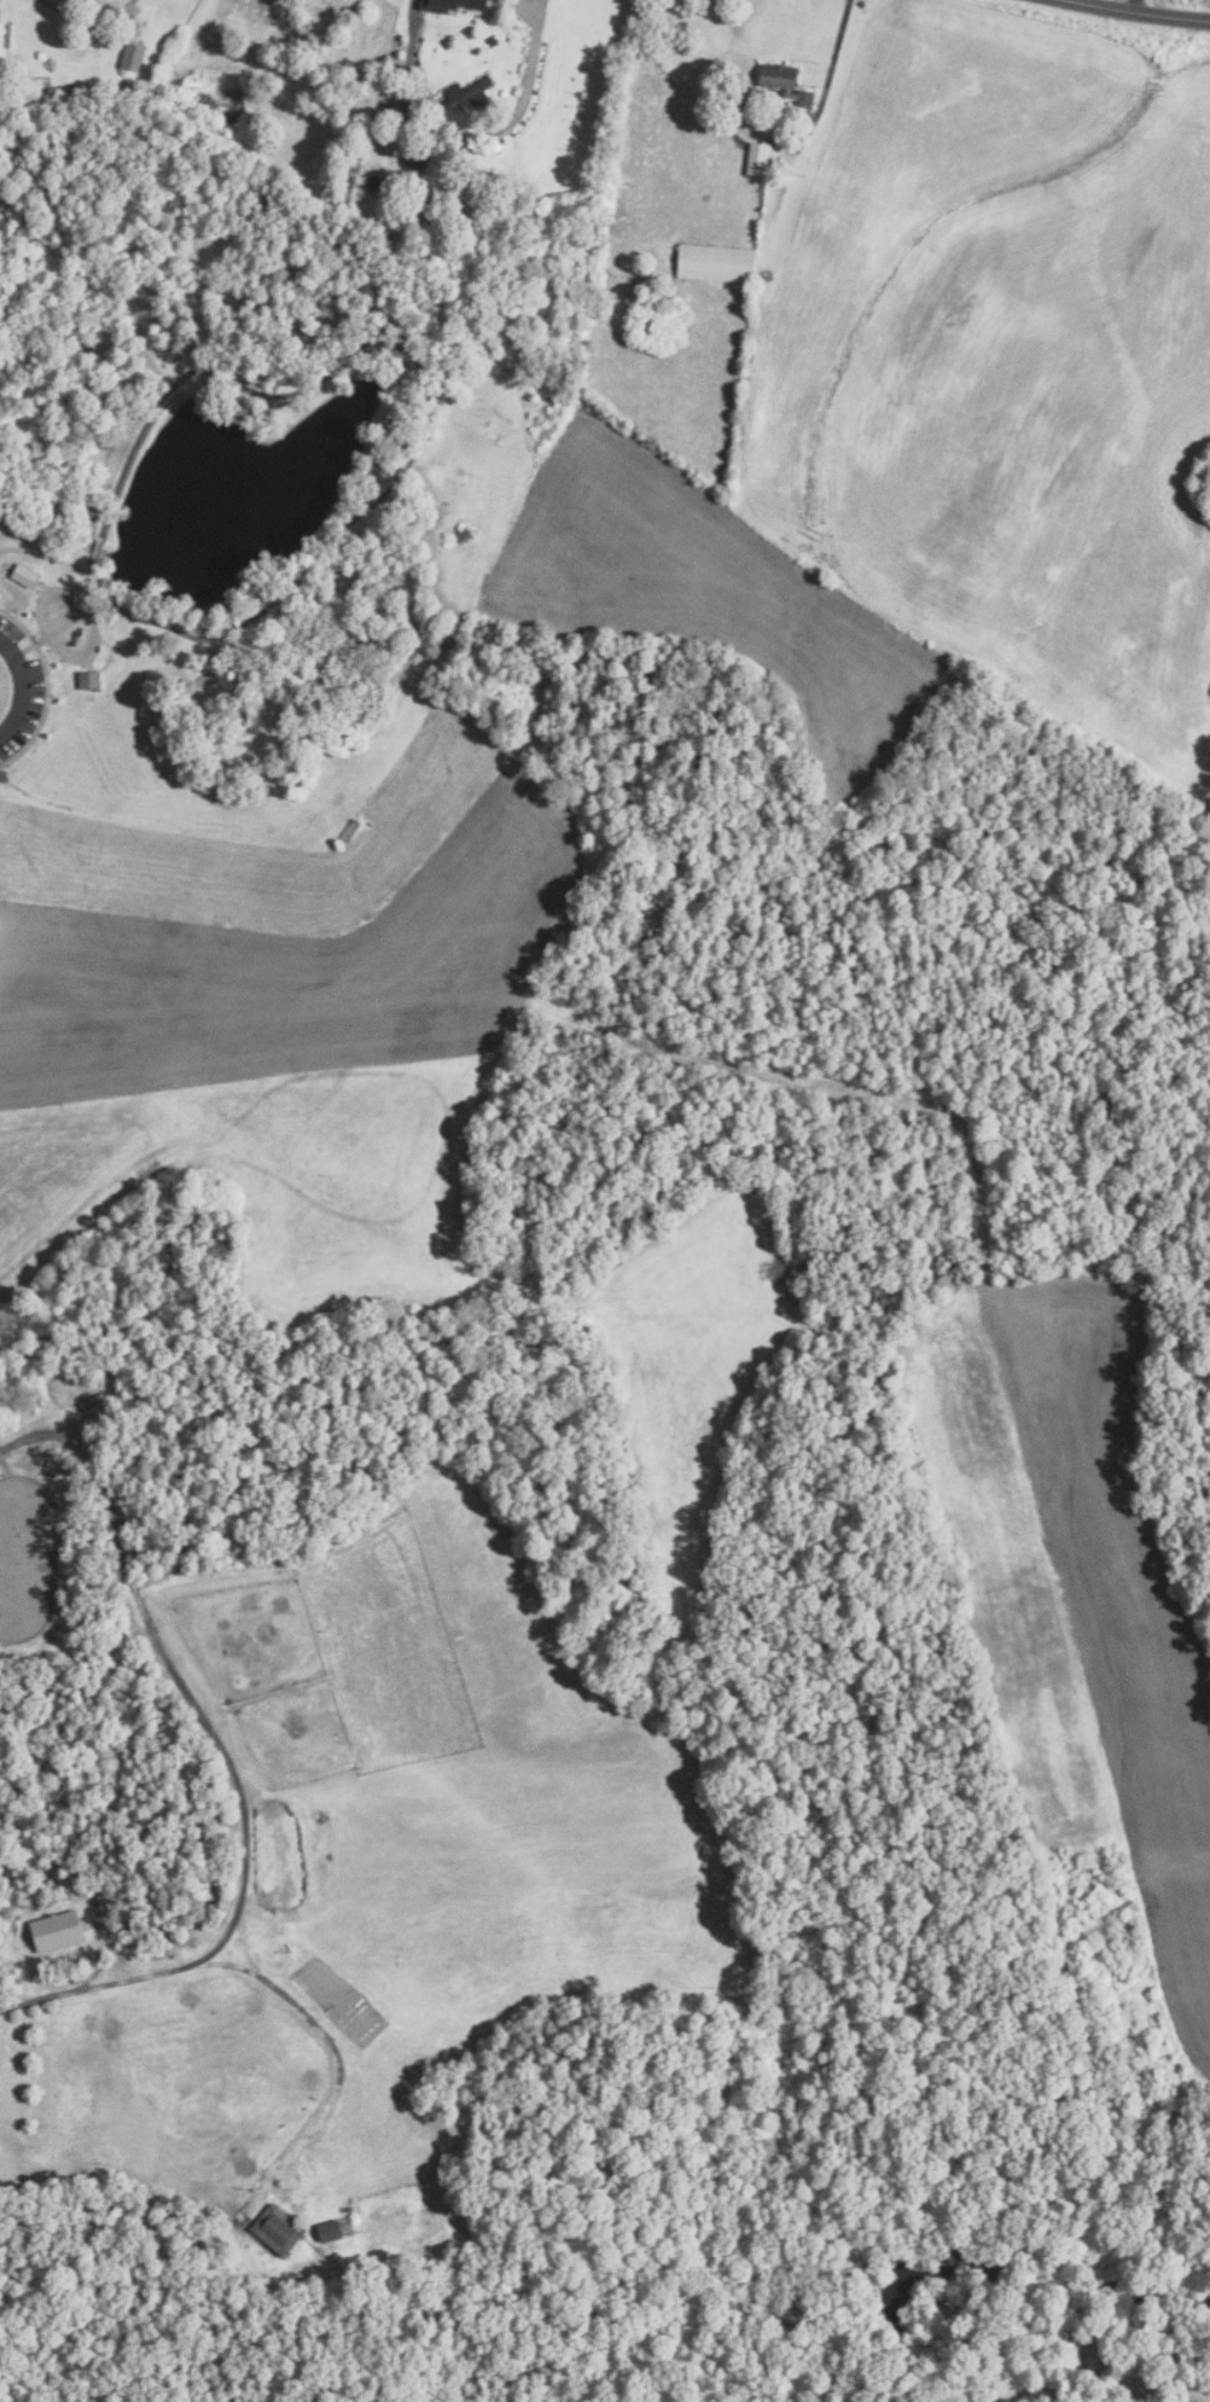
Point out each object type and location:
building: (452, 5)
road: (1127, 5)
road: (1139, 6)
road: (1146, 13)
road: (88, 17)
building: (5, 35)
building: (493, 41)
building: (133, 57)
road: (831, 71)
building: (785, 82)
building: (69, 91)
building: (465, 95)
road: (460, 139)
building: (762, 159)
building: (365, 178)
building: (380, 184)
building: (716, 263)
crop: (1007, 362)
road: (425, 389)
park: (242, 514)
road: (94, 552)
road: (46, 558)
road: (92, 569)
building: (25, 577)
road: (59, 629)
road: (74, 663)
building: (91, 682)
parking lot: (22, 690)
road: (46, 690)
road: (18, 691)
crop: (362, 1092)
crop: (1075, 1592)
building: (58, 1931)
road: (252, 1971)
building: (278, 2229)
building: (330, 2231)

